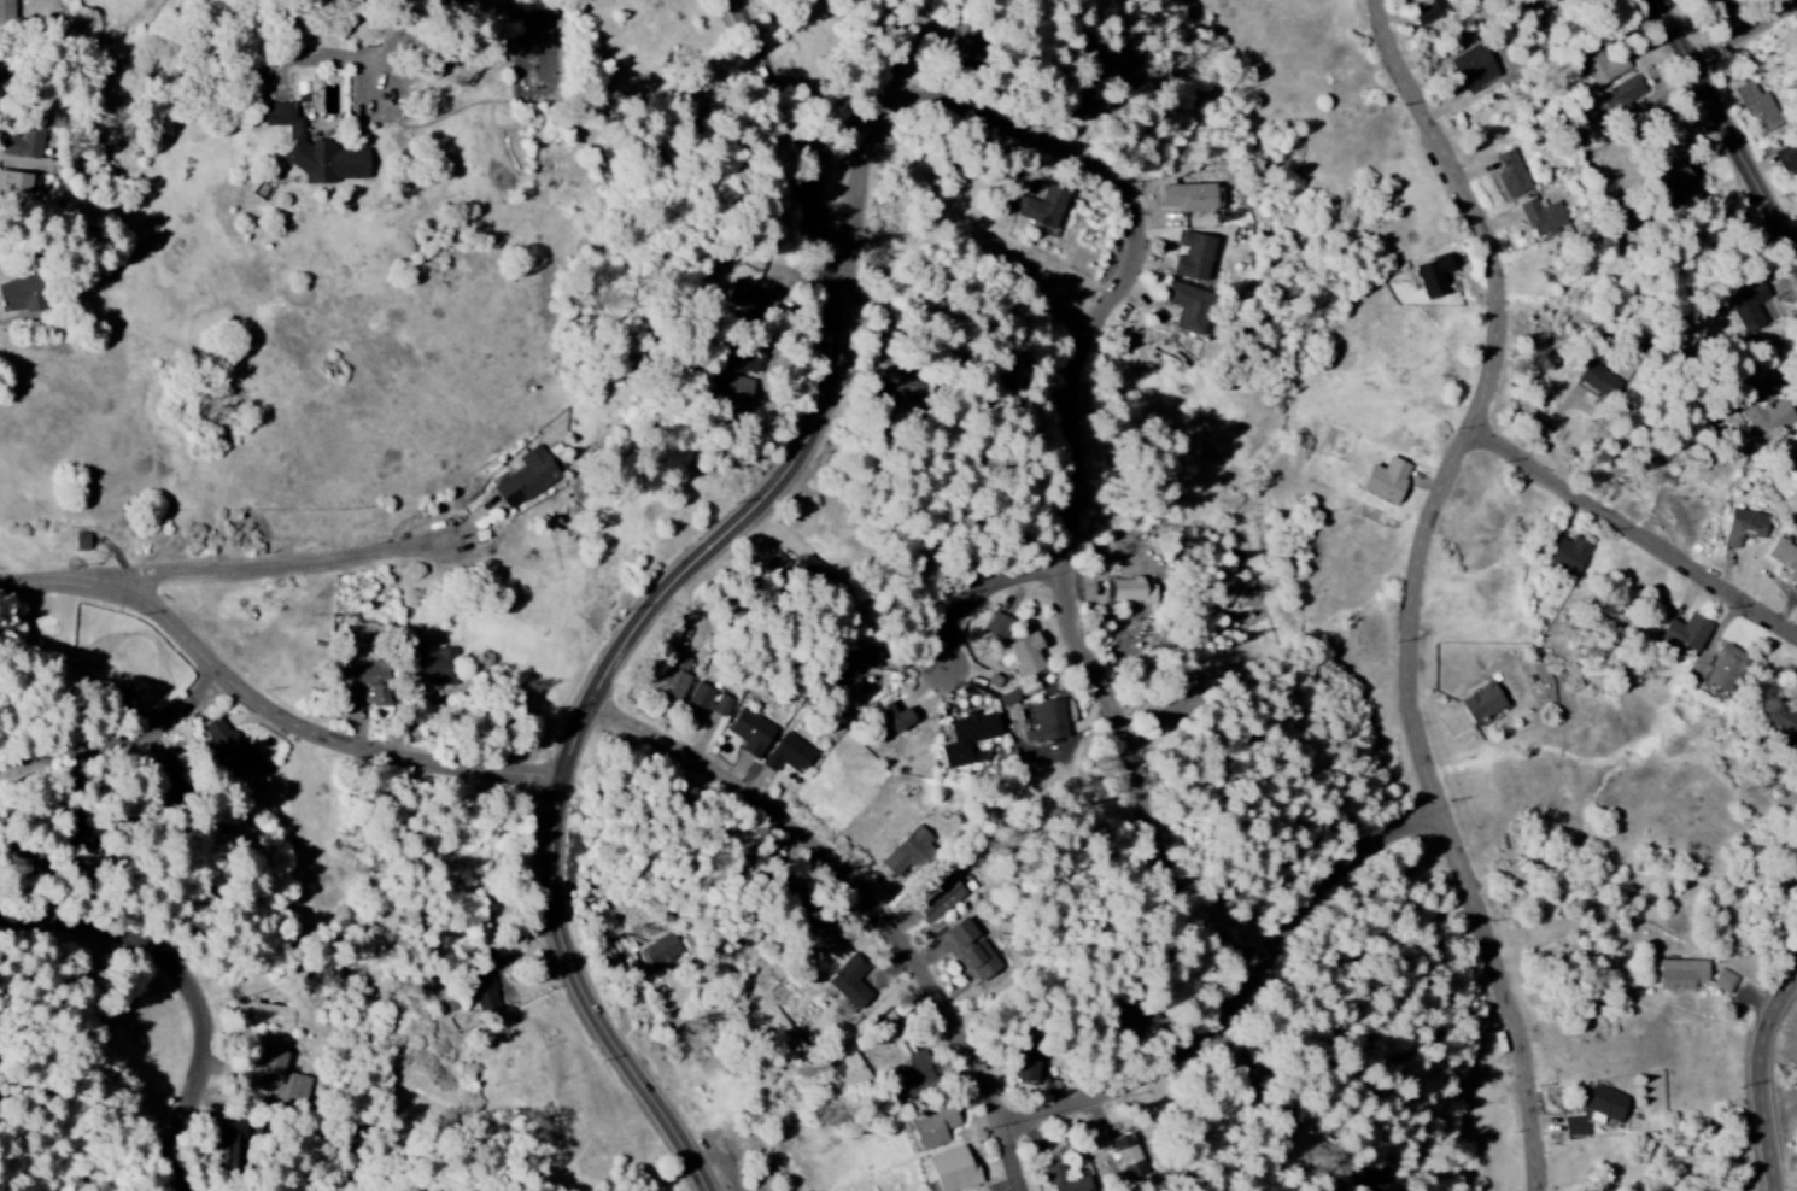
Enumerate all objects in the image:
building: (1715, 4)
building: (6, 10)
building: (1430, 12)
road: (1748, 35)
building: (966, 39)
building: (1600, 64)
building: (0, 66)
building: (1474, 68)
building: (1622, 96)
building: (1079, 107)
building: (1757, 107)
road: (1729, 124)
building: (25, 143)
building: (316, 151)
road: (874, 156)
building: (1785, 159)
building: (1511, 174)
building: (16, 182)
building: (1190, 198)
building: (1038, 206)
building: (1543, 217)
building: (1193, 257)
building: (1433, 277)
building: (23, 295)
building: (747, 297)
building: (1187, 306)
building: (1748, 307)
building: (745, 358)
building: (1599, 381)
building: (737, 391)
building: (911, 391)
building: (1766, 413)
road: (1075, 471)
building: (527, 479)
building: (1386, 481)
building: (1744, 527)
road: (1639, 530)
building: (1568, 557)
building: (1783, 557)
road: (282, 568)
building: (816, 576)
road: (1418, 583)
road: (678, 589)
building: (1132, 592)
road: (991, 593)
building: (997, 626)
building: (1686, 633)
building: (1026, 656)
building: (437, 665)
building: (854, 669)
building: (1725, 669)
building: (674, 679)
building: (367, 683)
building: (995, 685)
building: (110, 691)
building: (1007, 698)
building: (703, 703)
road: (274, 704)
building: (1481, 704)
building: (897, 717)
building: (1047, 721)
building: (1781, 721)
building: (751, 733)
building: (970, 739)
road: (125, 740)
building: (228, 749)
building: (788, 756)
building: (907, 853)
road: (873, 897)
building: (940, 899)
building: (661, 951)
building: (972, 951)
building: (1681, 975)
building: (1723, 981)
road: (195, 982)
building: (850, 982)
building: (485, 995)
road: (1246, 995)
building: (1131, 1017)
building: (1029, 1063)
building: (915, 1078)
building: (281, 1079)
road: (1767, 1084)
building: (1604, 1105)
building: (932, 1126)
building: (1574, 1127)
building: (233, 1145)
building: (1125, 1150)
building: (949, 1171)
building: (1063, 1180)

